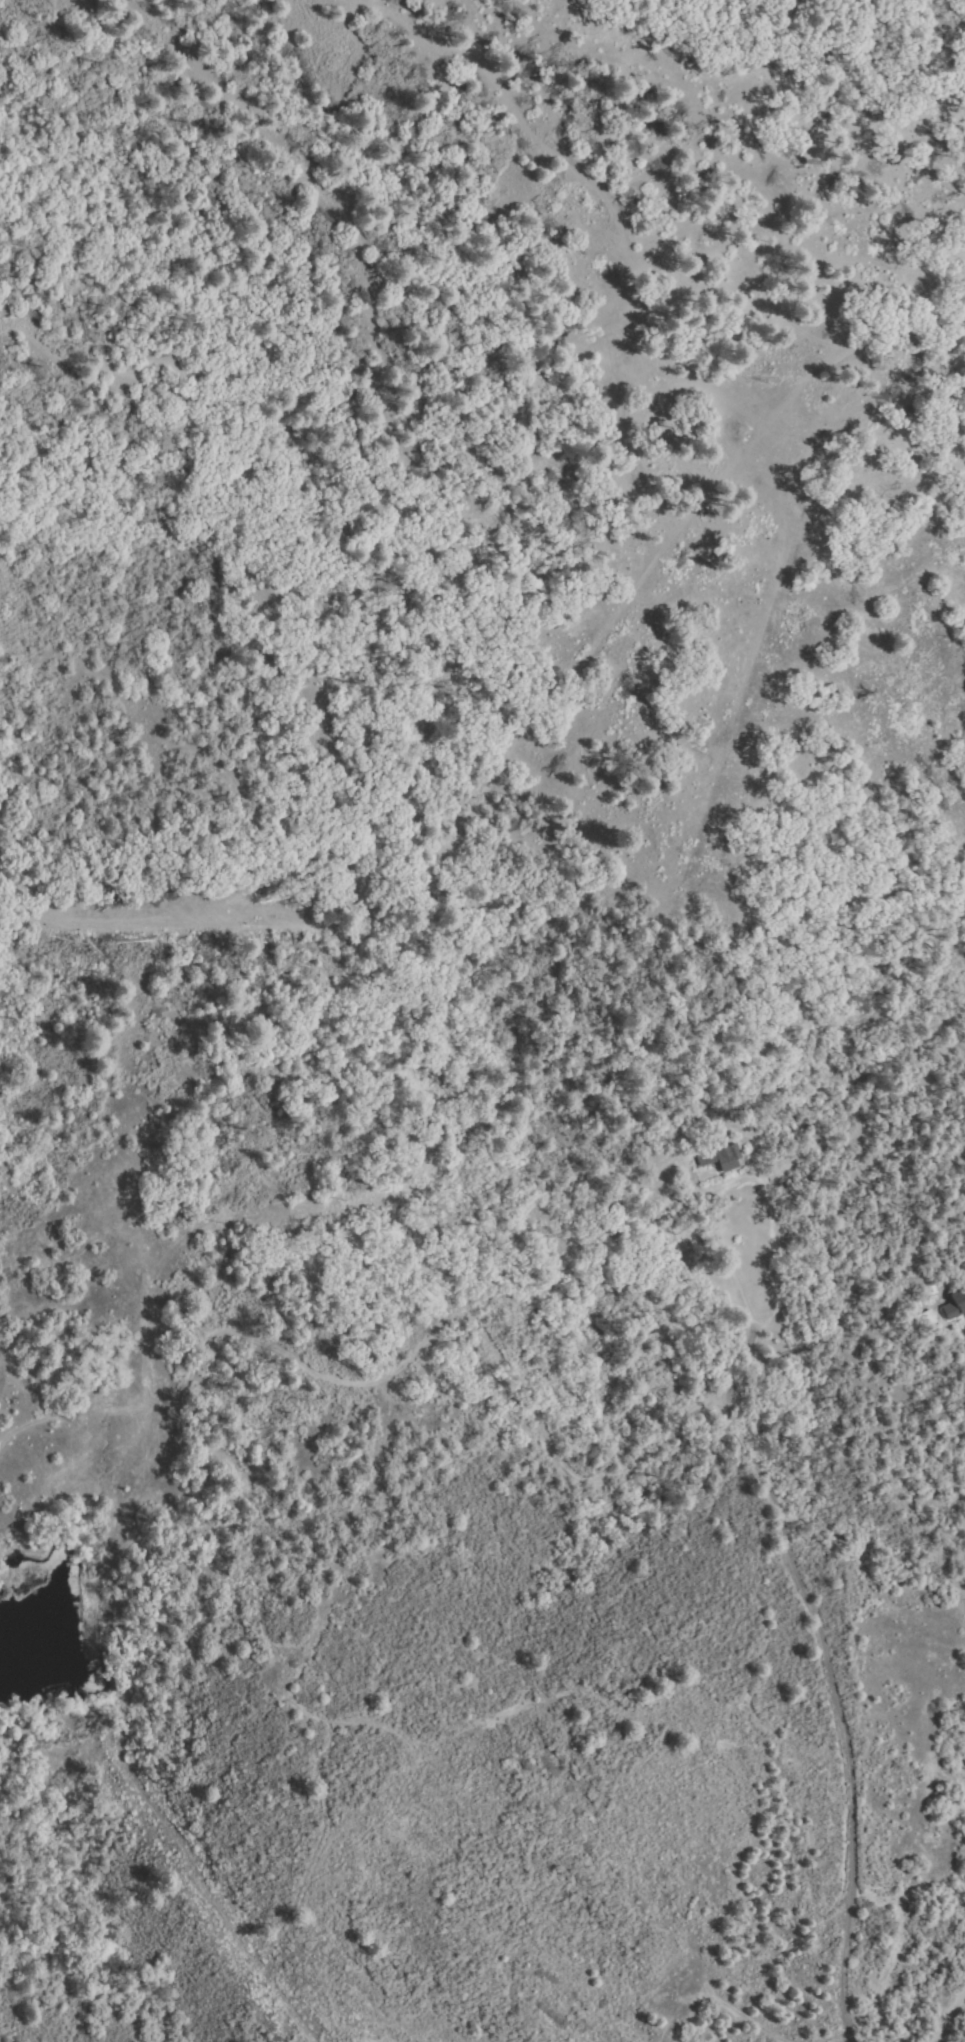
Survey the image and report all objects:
building: (721, 1156)
building: (793, 1185)
building: (896, 1254)
building: (955, 1306)
building: (925, 1319)
road: (829, 1648)
road: (942, 2015)

